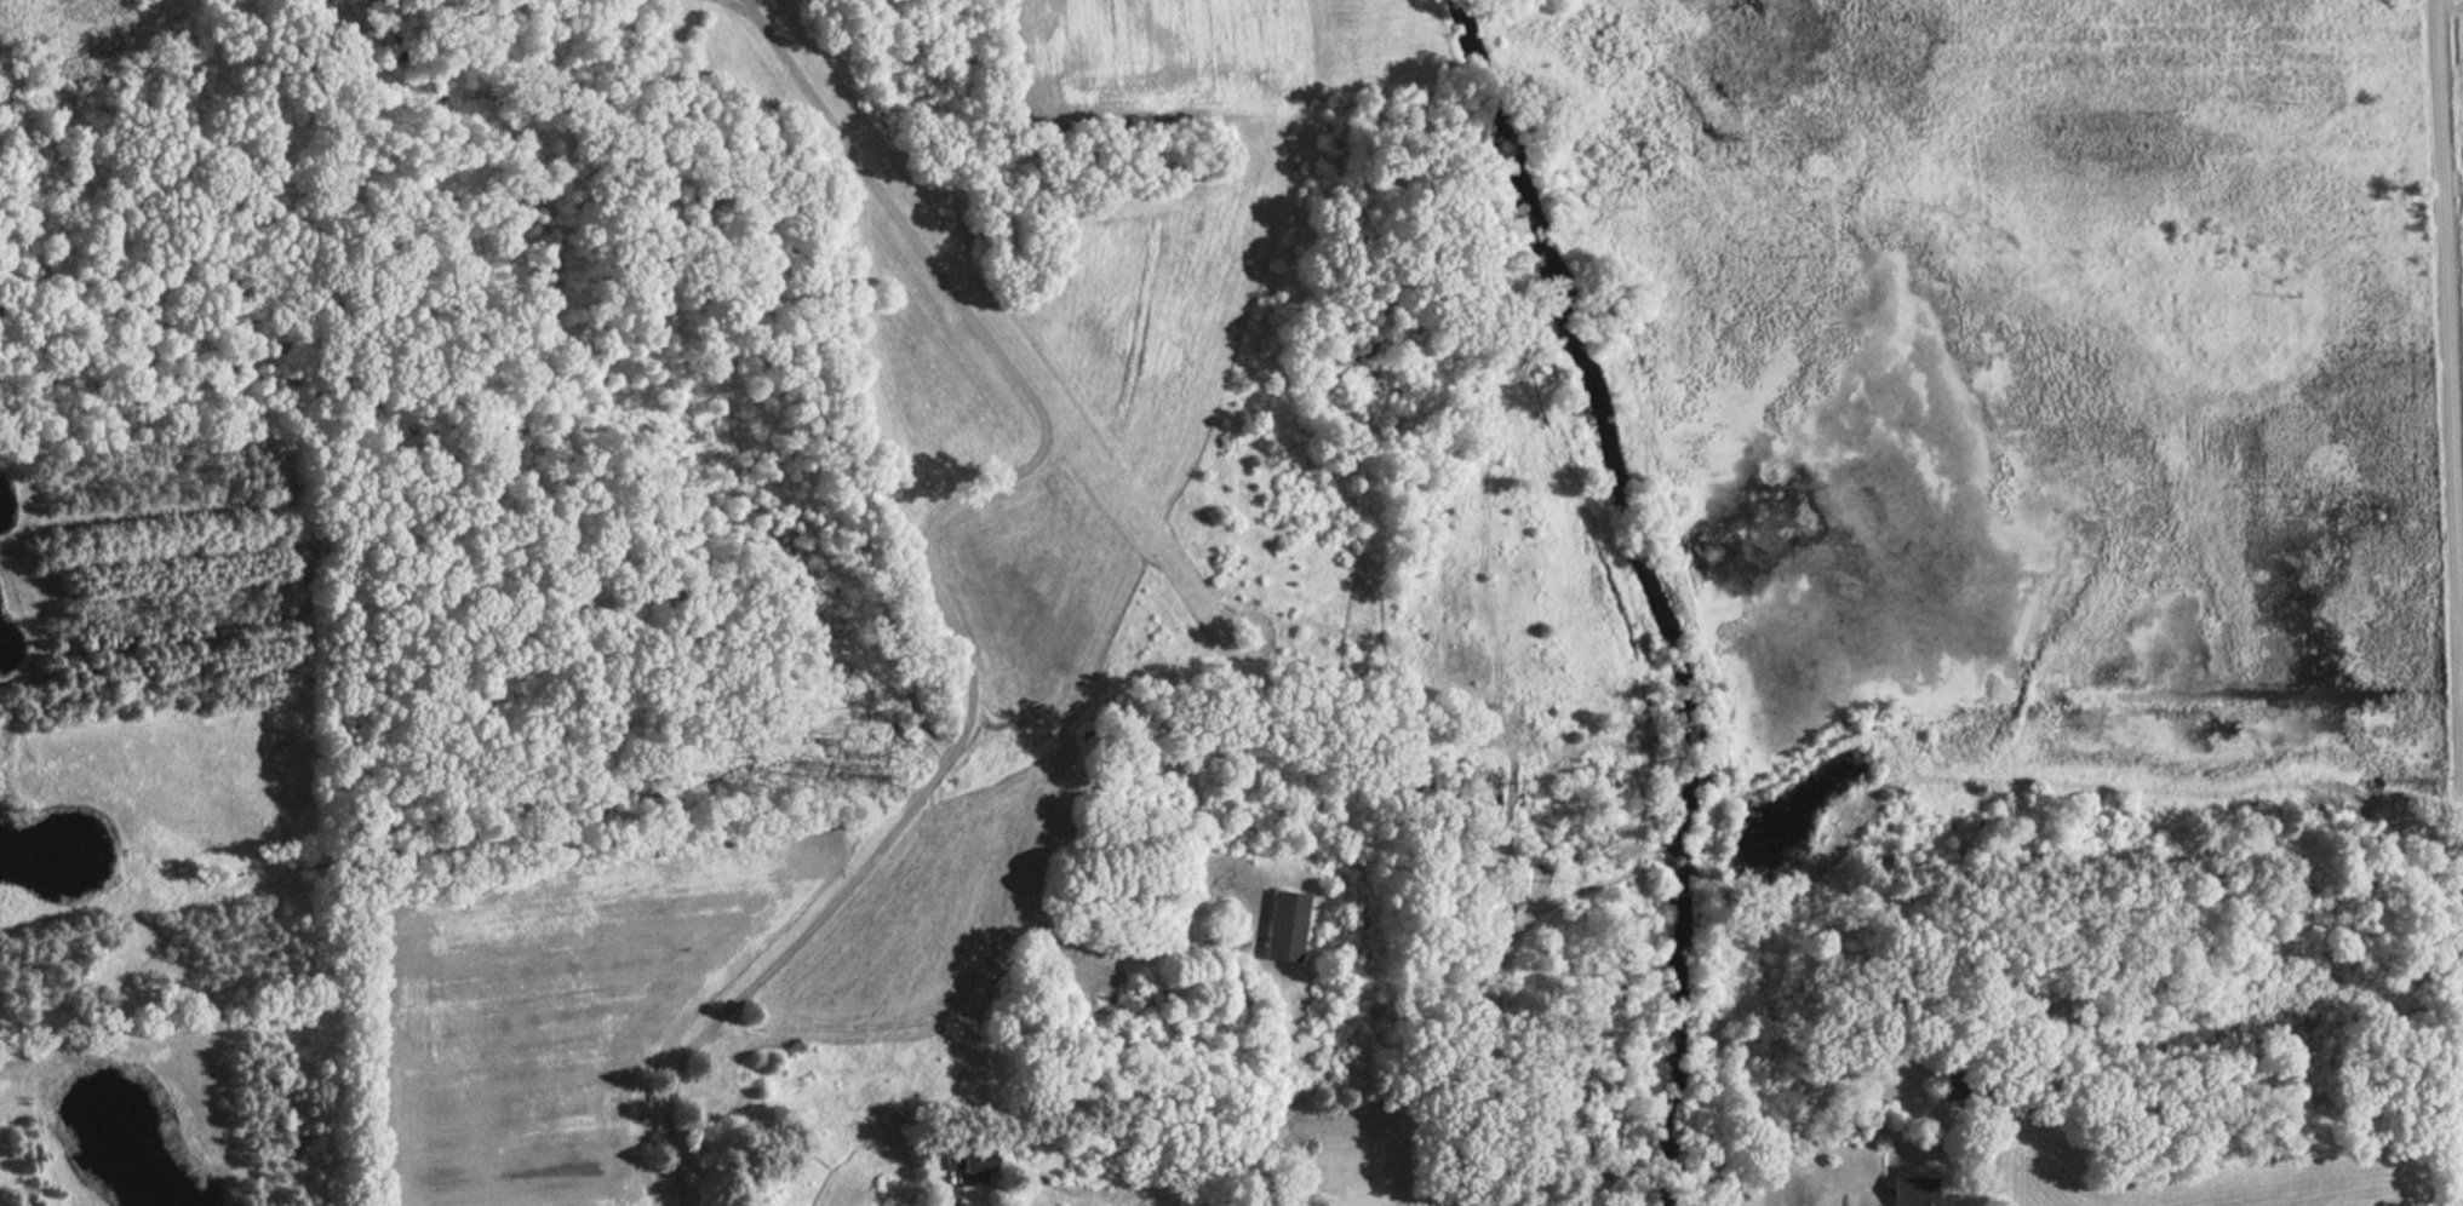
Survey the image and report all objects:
building: (534, 0)
road: (2450, 398)
road: (932, 580)
building: (1278, 926)
building: (1903, 1193)
road: (952, 1196)

